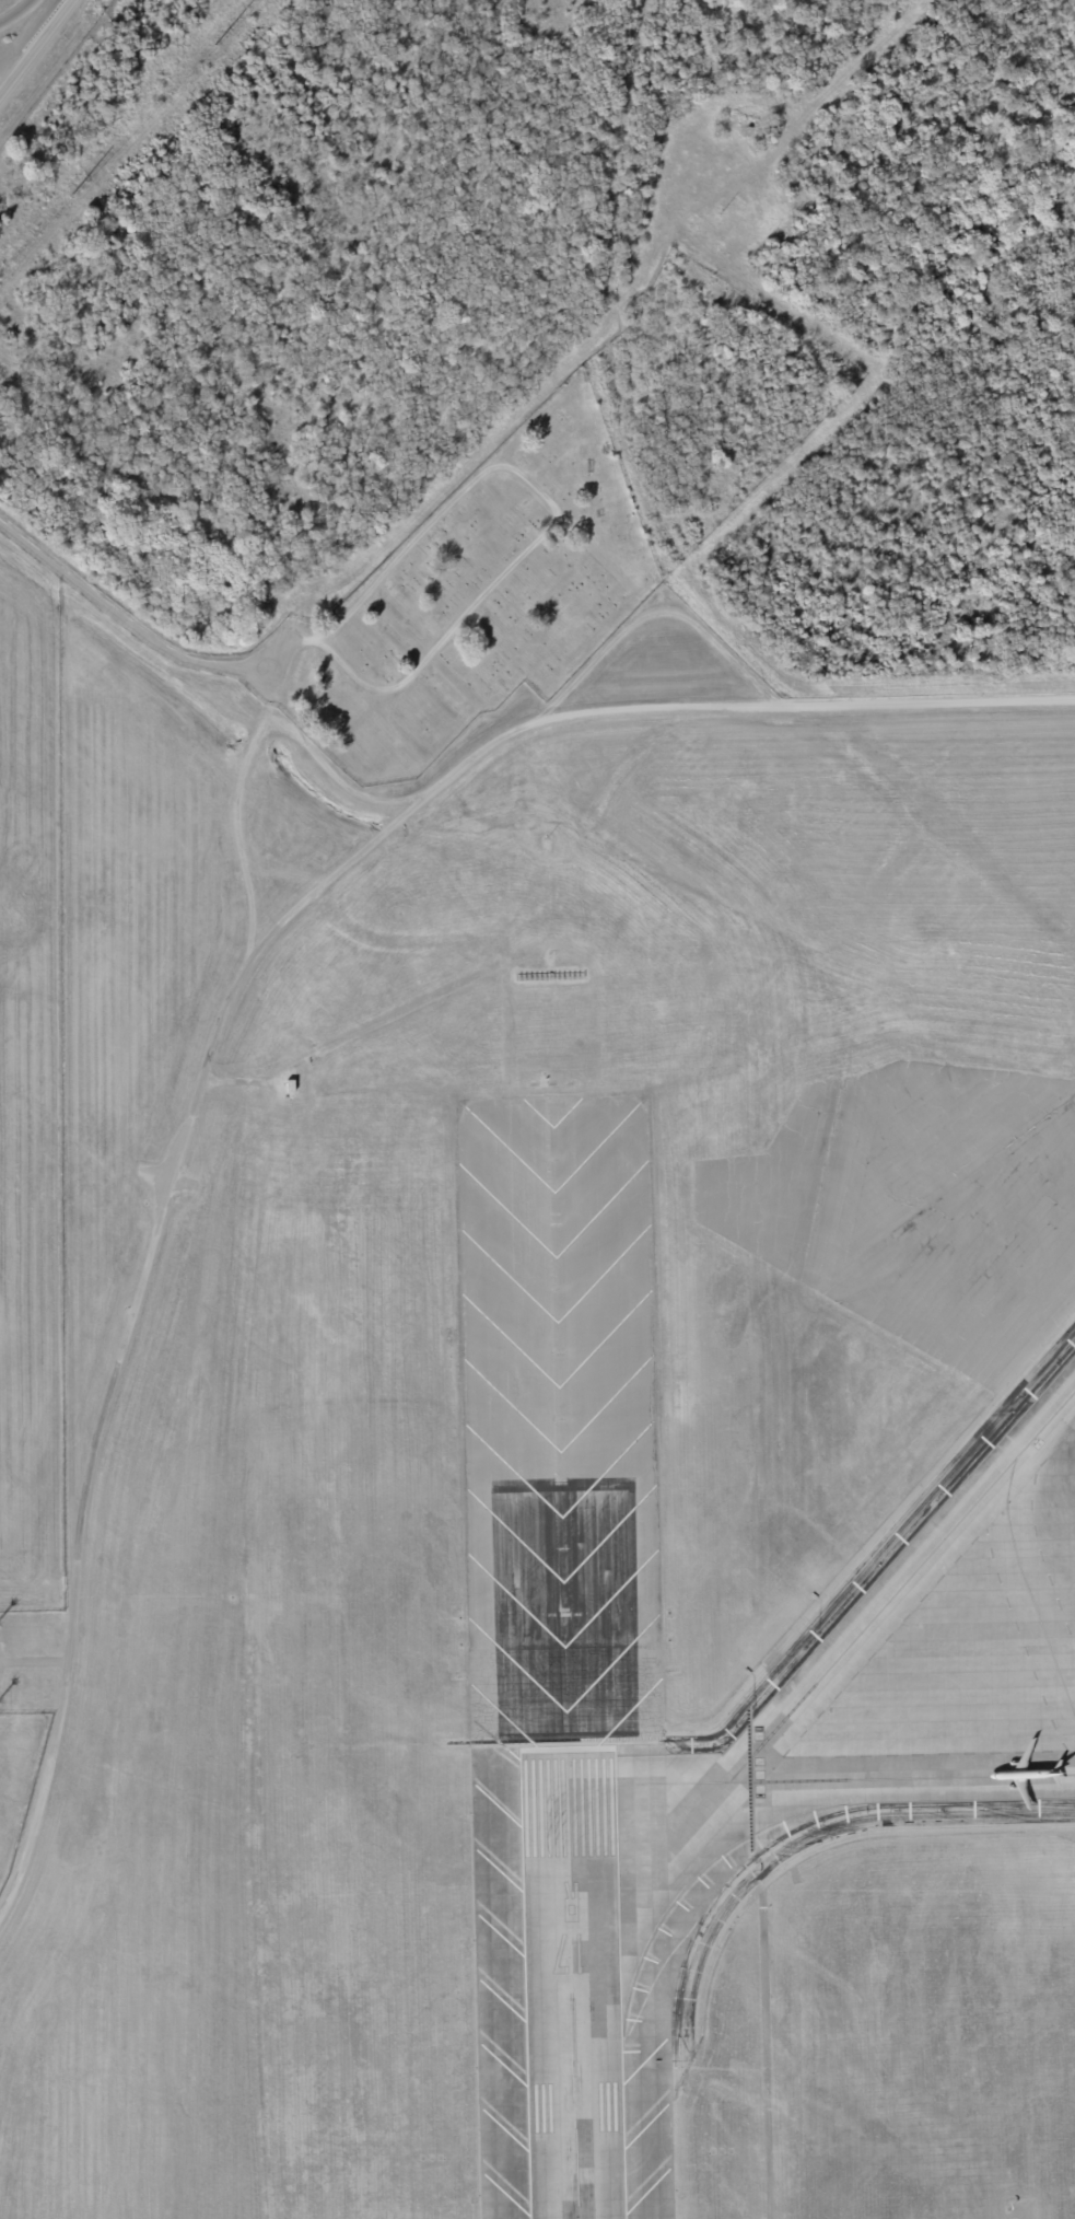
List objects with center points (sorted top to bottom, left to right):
road: (16, 13)
road: (34, 45)
road: (531, 544)
park: (479, 596)
road: (115, 609)
building: (291, 1084)
road: (130, 1314)
airport: (533, 1455)
airport taxiway: (901, 1585)
airport taxiway: (1027, 1585)
road: (35, 1660)
airport taxiway: (805, 1778)
railway: (399, 1859)
airport runway: (571, 1986)

